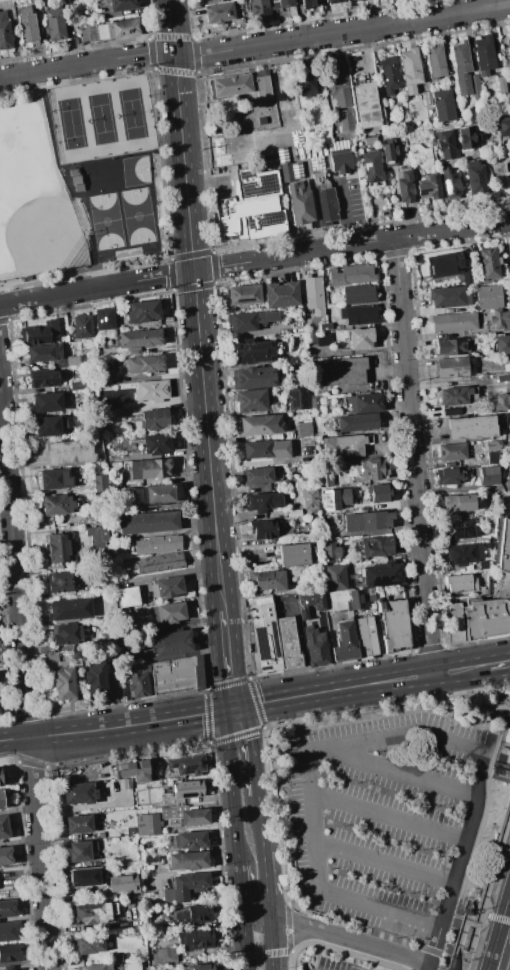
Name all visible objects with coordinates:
building: (350, 0)
building: (357, 0)
building: (334, 1)
building: (311, 3)
building: (119, 4)
building: (281, 4)
building: (259, 10)
building: (218, 13)
building: (56, 24)
building: (27, 25)
building: (118, 29)
building: (4, 32)
building: (508, 44)
road: (255, 46)
building: (485, 55)
building: (436, 62)
building: (462, 67)
building: (410, 70)
building: (389, 75)
building: (309, 82)
building: (229, 86)
building: (338, 86)
building: (502, 86)
building: (509, 86)
building: (262, 87)
building: (475, 87)
building: (427, 98)
building: (366, 105)
building: (442, 105)
park: (133, 114)
park: (102, 120)
building: (478, 122)
building: (503, 126)
park: (72, 128)
building: (471, 138)
building: (370, 141)
building: (450, 145)
building: (389, 155)
building: (419, 155)
building: (342, 161)
building: (372, 168)
park: (138, 171)
park: (107, 176)
building: (478, 177)
park: (80, 179)
building: (76, 180)
building: (257, 183)
road: (67, 185)
parking lot: (224, 185)
building: (404, 185)
building: (453, 185)
building: (429, 188)
building: (297, 197)
park: (33, 198)
parking lot: (348, 198)
building: (325, 200)
road: (345, 212)
building: (250, 217)
park: (137, 218)
park: (106, 222)
building: (509, 247)
road: (254, 261)
building: (440, 263)
building: (489, 263)
traffic signals: (193, 271)
building: (351, 275)
building: (357, 294)
building: (244, 295)
building: (281, 295)
building: (313, 295)
building: (489, 296)
building: (448, 297)
road: (195, 306)
building: (144, 312)
building: (359, 315)
building: (499, 318)
building: (104, 319)
building: (251, 321)
building: (454, 322)
building: (82, 326)
building: (325, 327)
building: (40, 332)
building: (140, 338)
building: (359, 338)
building: (324, 339)
building: (310, 340)
building: (502, 344)
building: (452, 347)
building: (133, 352)
building: (255, 352)
building: (44, 353)
building: (67, 361)
building: (145, 364)
building: (298, 367)
building: (455, 367)
building: (340, 371)
building: (43, 378)
building: (101, 378)
building: (255, 378)
building: (76, 386)
building: (152, 391)
building: (454, 396)
building: (297, 399)
building: (253, 400)
building: (47, 403)
building: (364, 403)
building: (500, 403)
building: (315, 404)
building: (451, 412)
building: (154, 419)
building: (362, 422)
building: (259, 425)
building: (49, 426)
building: (304, 428)
building: (471, 428)
building: (153, 444)
building: (494, 445)
building: (343, 447)
building: (266, 449)
building: (70, 452)
building: (452, 452)
building: (509, 455)
road: (413, 456)
building: (493, 457)
building: (151, 469)
building: (370, 469)
building: (508, 473)
building: (259, 475)
building: (450, 476)
building: (489, 476)
building: (325, 478)
building: (55, 479)
building: (100, 482)
building: (379, 493)
building: (155, 495)
building: (335, 498)
building: (310, 500)
building: (263, 501)
building: (461, 503)
building: (58, 504)
building: (89, 519)
building: (367, 521)
building: (148, 522)
building: (271, 528)
building: (461, 529)
building: (113, 536)
building: (97, 537)
building: (158, 544)
building: (377, 546)
building: (60, 548)
building: (328, 548)
building: (464, 554)
building: (294, 555)
building: (159, 562)
building: (116, 564)
building: (483, 565)
building: (382, 574)
building: (335, 577)
building: (267, 580)
building: (62, 581)
building: (460, 583)
building: (167, 587)
building: (98, 591)
building: (493, 595)
building: (127, 596)
building: (361, 598)
building: (335, 600)
building: (309, 605)
building: (69, 609)
building: (169, 613)
building: (394, 625)
building: (455, 625)
building: (67, 634)
building: (366, 636)
building: (264, 638)
building: (345, 641)
building: (171, 643)
building: (288, 643)
road: (470, 643)
building: (316, 649)
building: (76, 655)
building: (50, 658)
road: (227, 659)
road: (508, 663)
road: (494, 665)
road: (508, 665)
building: (177, 675)
building: (95, 678)
road: (25, 679)
building: (138, 680)
road: (491, 681)
building: (64, 684)
road: (356, 686)
road: (501, 697)
traffic signals: (231, 708)
road: (297, 721)
road: (115, 727)
road: (272, 728)
road: (500, 734)
road: (253, 748)
road: (332, 749)
building: (187, 764)
building: (136, 772)
road: (405, 773)
building: (2, 779)
building: (127, 784)
road: (231, 784)
building: (186, 789)
building: (79, 793)
building: (2, 798)
road: (479, 805)
building: (175, 810)
road: (392, 814)
building: (195, 817)
parking lot: (388, 820)
building: (147, 824)
road: (260, 824)
building: (78, 825)
building: (4, 827)
road: (482, 830)
building: (130, 831)
building: (95, 835)
building: (189, 840)
building: (80, 851)
building: (6, 856)
building: (111, 857)
building: (188, 861)
road: (388, 864)
road: (493, 871)
building: (85, 877)
road: (239, 879)
road: (266, 882)
building: (125, 885)
building: (188, 885)
road: (454, 892)
road: (509, 895)
road: (505, 905)
road: (255, 906)
building: (8, 908)
road: (382, 908)
building: (93, 912)
road: (288, 914)
building: (194, 915)
road: (495, 917)
road: (292, 921)
building: (9, 930)
road: (244, 934)
road: (341, 936)
road: (473, 937)
road: (292, 938)
building: (197, 939)
road: (454, 940)
road: (270, 942)
building: (90, 944)
road: (437, 944)
road: (493, 944)
road: (498, 944)
road: (337, 949)
road: (283, 952)
building: (9, 953)
road: (399, 953)
building: (164, 955)
parking lot: (335, 965)
building: (131, 966)
building: (202, 966)
road: (431, 966)
road: (439, 966)
building: (96, 967)
building: (11, 968)
parking lot: (310, 969)

